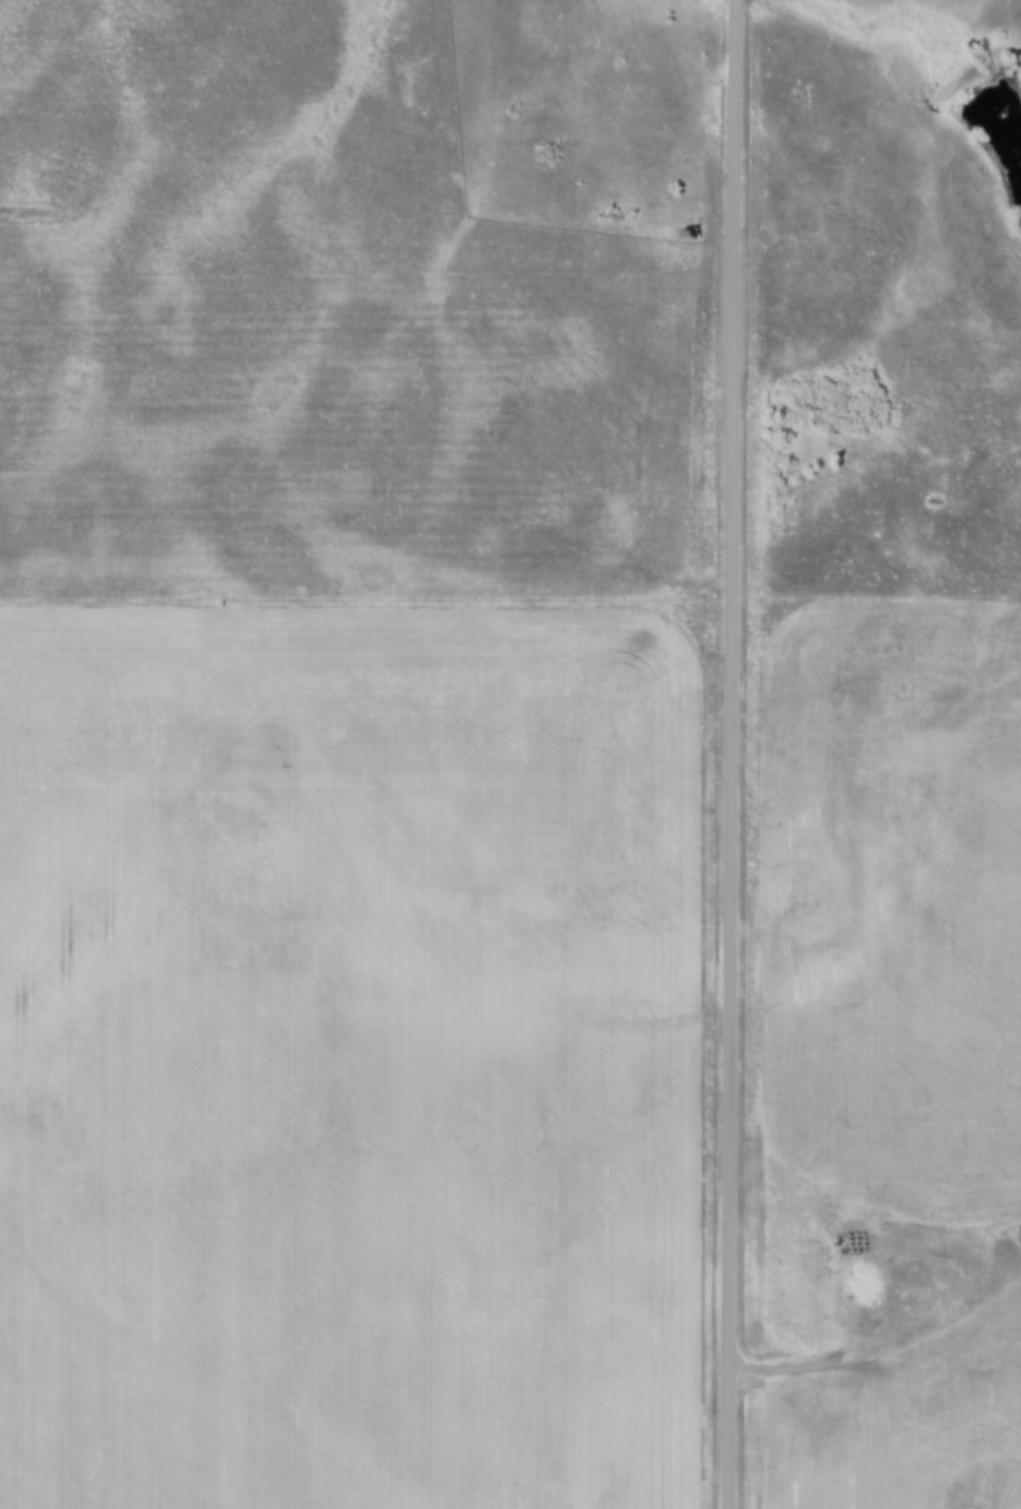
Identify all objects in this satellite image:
road: (728, 754)
building: (1020, 1234)
road: (896, 1340)

